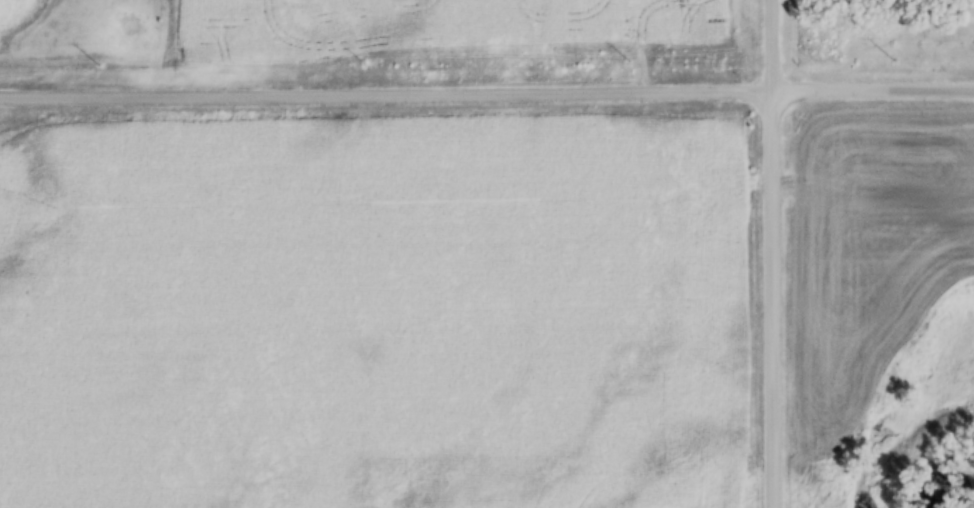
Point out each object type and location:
road: (774, 45)
road: (486, 92)
road: (775, 299)

